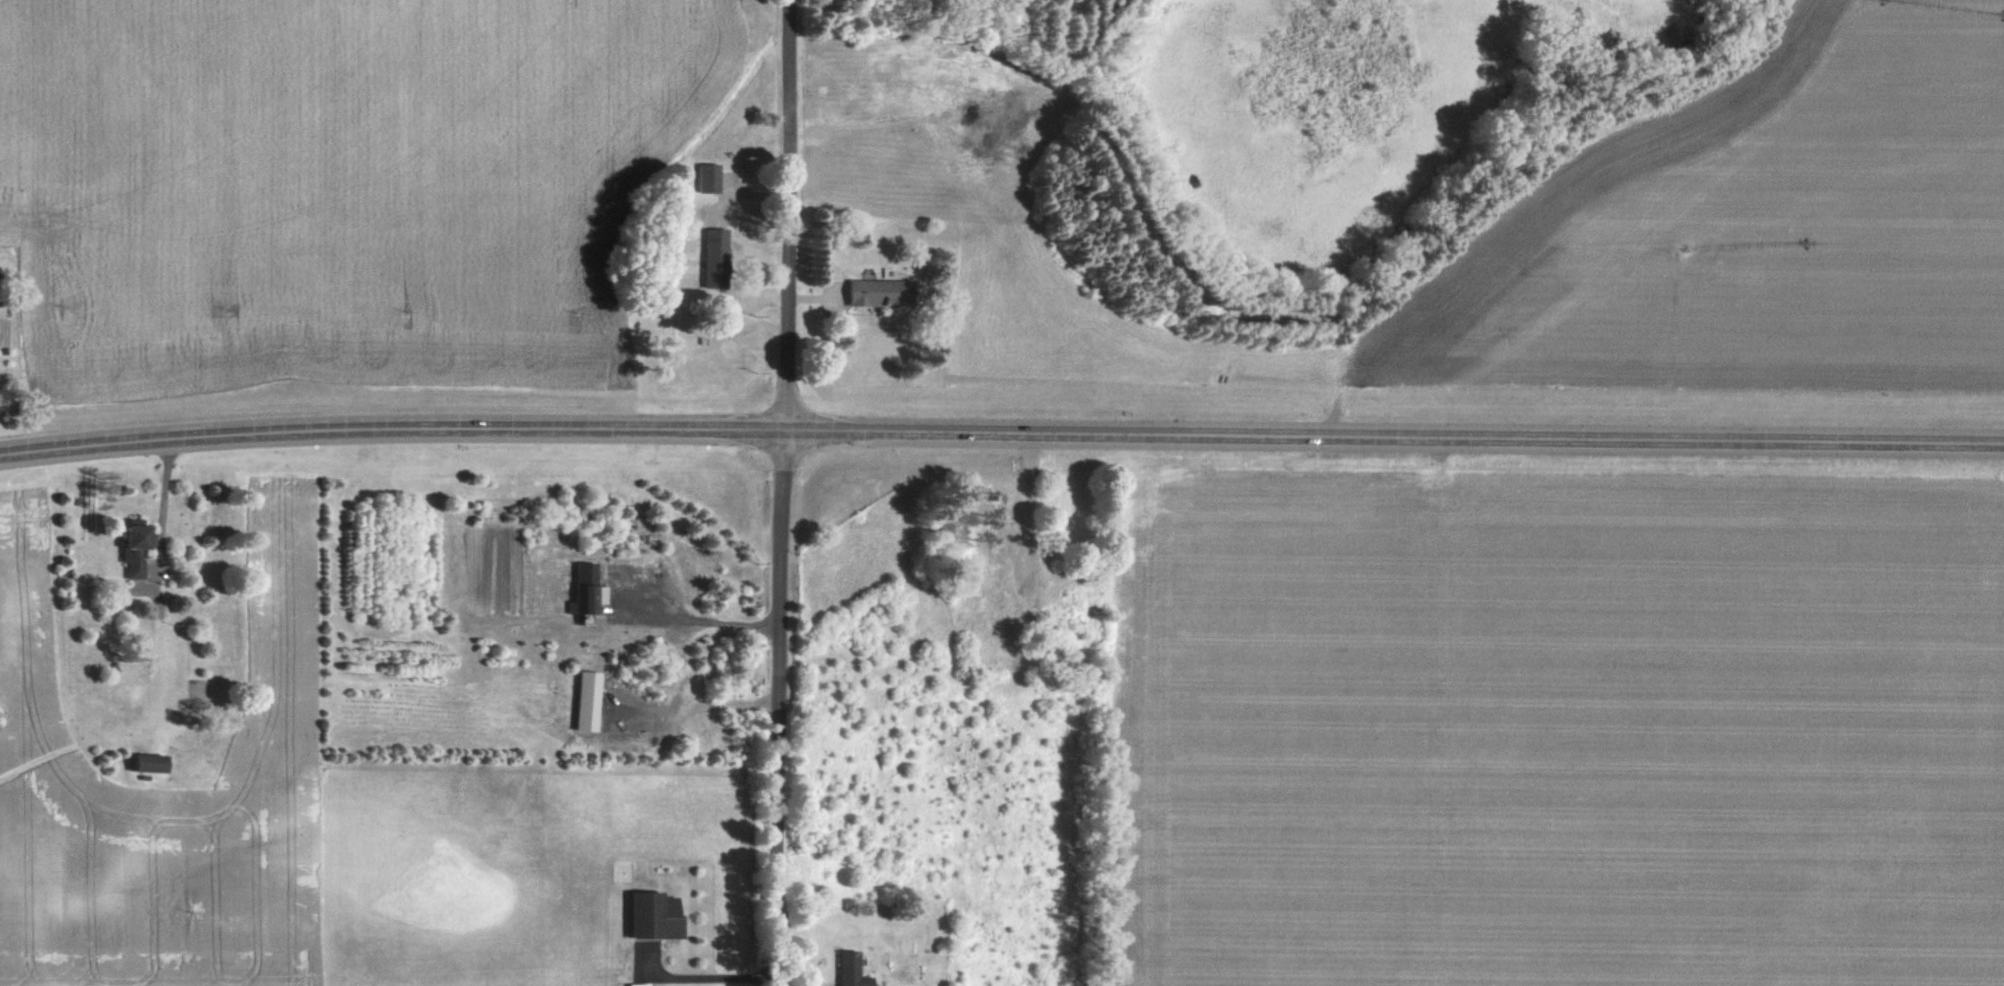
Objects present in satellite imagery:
building: (703, 178)
building: (676, 183)
building: (708, 254)
building: (872, 293)
road: (1001, 430)
road: (782, 493)
road: (163, 502)
building: (137, 547)
building: (583, 590)
road: (680, 653)
building: (582, 702)
building: (150, 763)
building: (648, 916)
building: (845, 969)
road: (696, 977)

